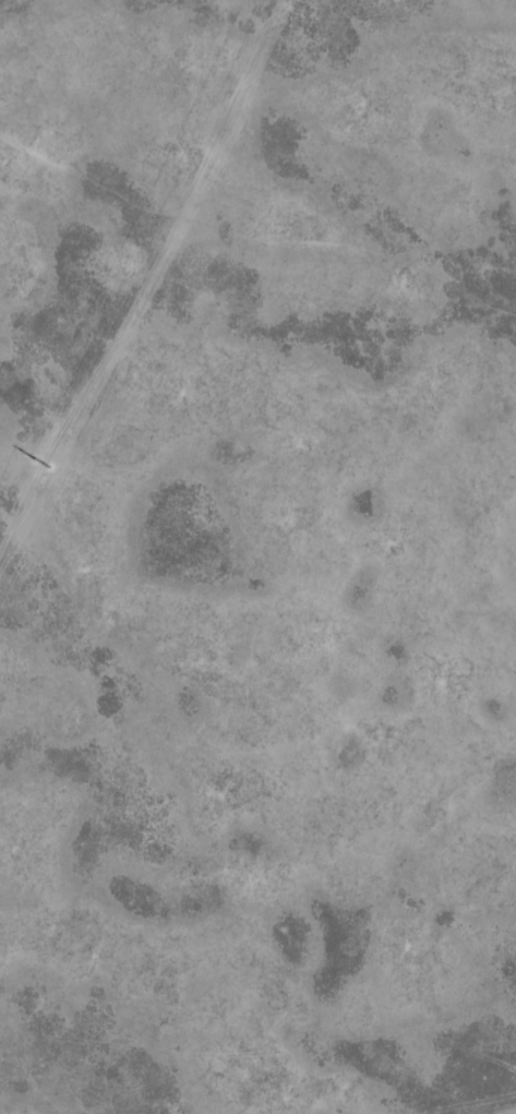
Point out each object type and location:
power tower: (44, 460)

